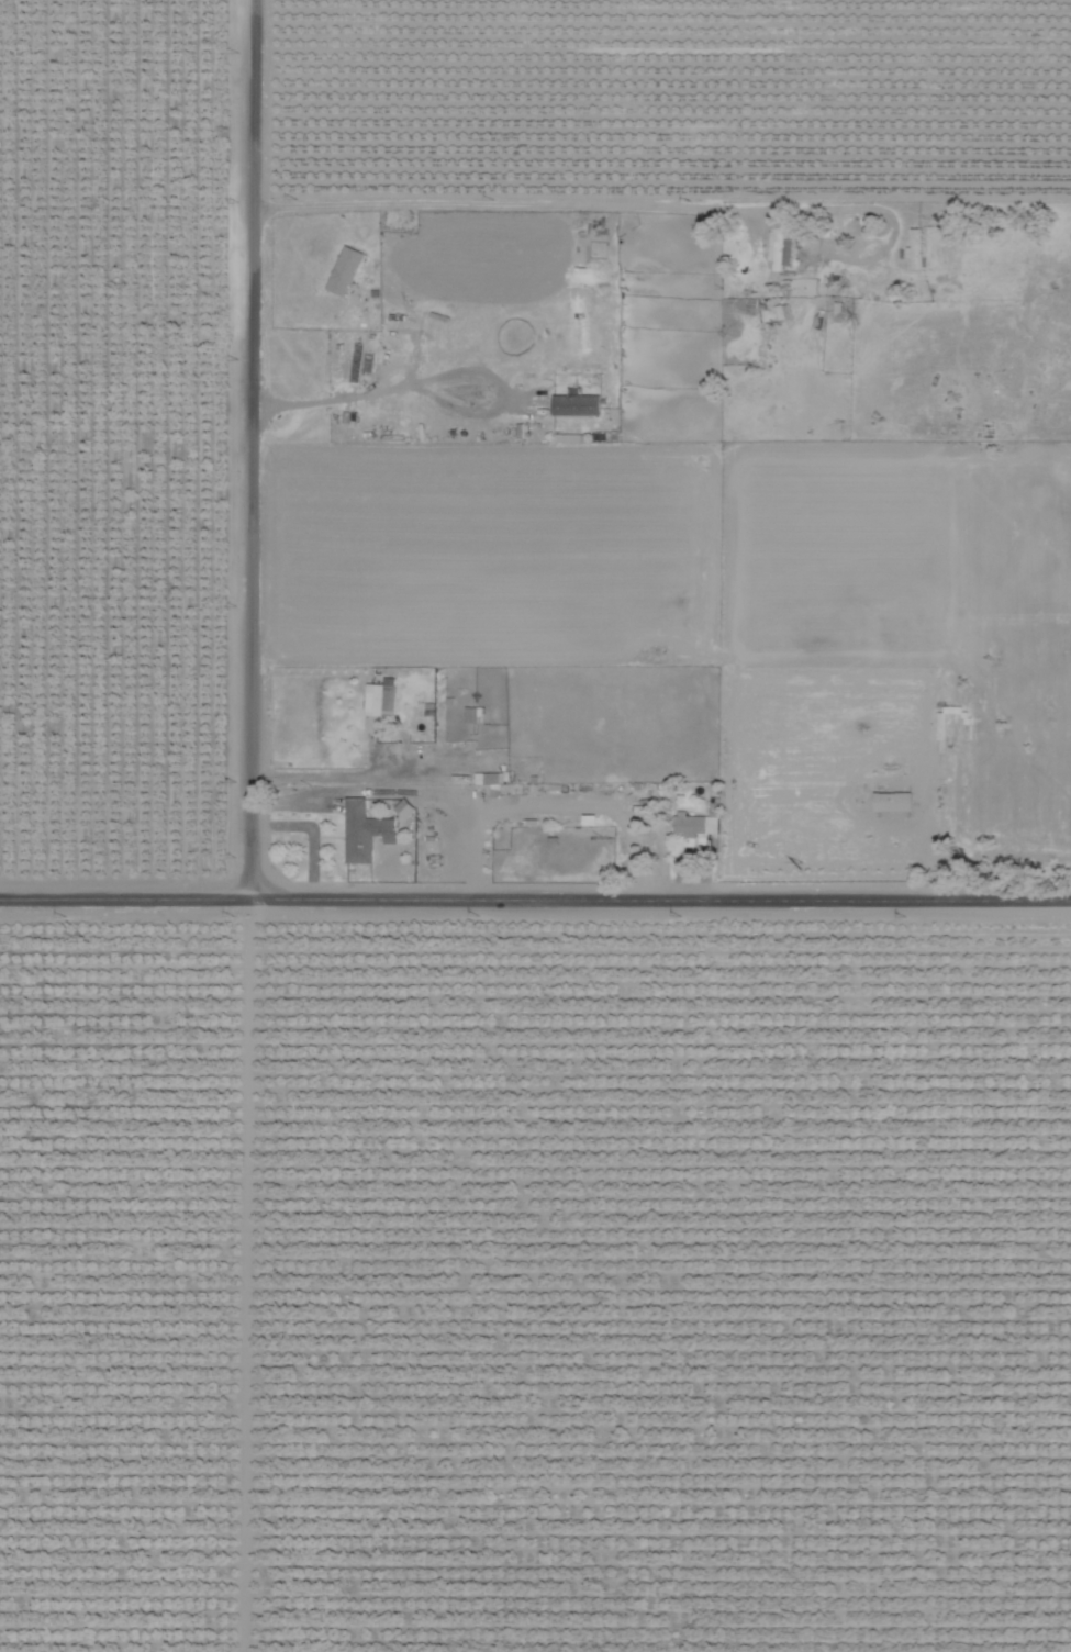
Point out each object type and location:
building: (917, 247)
building: (783, 248)
building: (346, 270)
road: (257, 454)
building: (382, 699)
road: (325, 779)
building: (896, 800)
building: (694, 824)
crop: (535, 826)
building: (366, 830)
road: (535, 906)

